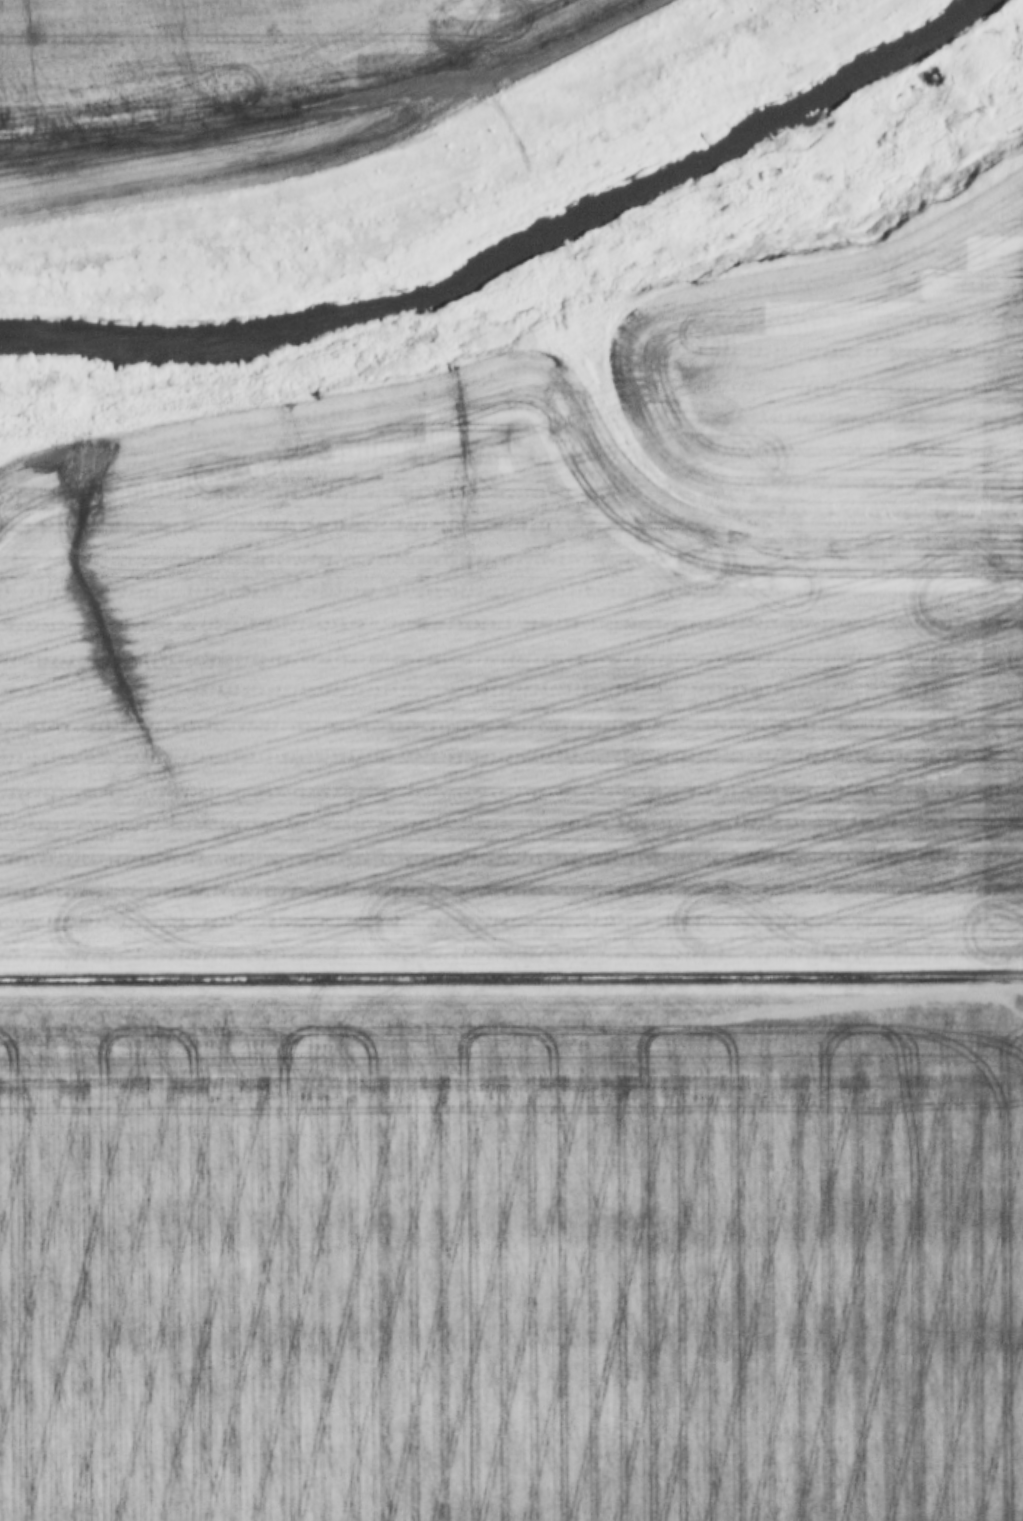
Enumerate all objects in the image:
river: (525, 247)
road: (511, 979)
crop: (510, 1258)

